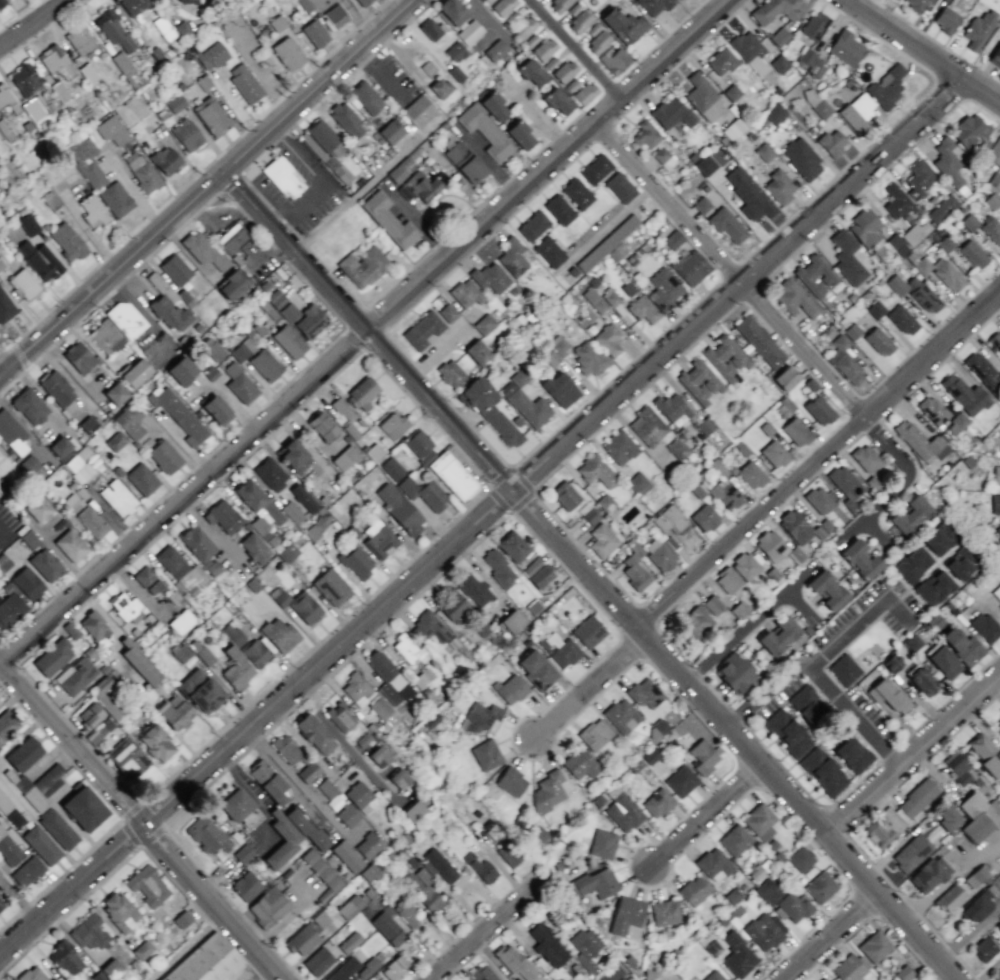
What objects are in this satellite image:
building: (678, 0)
building: (186, 1)
building: (487, 1)
building: (2, 2)
building: (362, 2)
building: (558, 4)
building: (917, 4)
building: (502, 6)
building: (654, 6)
building: (134, 7)
building: (773, 9)
building: (452, 11)
building: (334, 16)
building: (946, 19)
building: (579, 21)
road: (34, 24)
building: (622, 25)
building: (814, 25)
building: (524, 27)
building: (430, 28)
building: (979, 28)
building: (113, 30)
building: (468, 32)
building: (314, 33)
road: (906, 39)
building: (79, 40)
building: (598, 41)
building: (845, 47)
building: (544, 49)
road: (576, 49)
building: (495, 50)
building: (455, 51)
building: (749, 51)
building: (287, 53)
building: (211, 56)
building: (995, 57)
building: (613, 60)
building: (55, 61)
building: (721, 61)
building: (810, 63)
building: (122, 64)
building: (779, 64)
building: (564, 71)
building: (531, 72)
building: (24, 79)
building: (244, 83)
building: (886, 86)
building: (439, 88)
road: (982, 91)
building: (584, 93)
building: (4, 96)
building: (365, 97)
building: (702, 97)
building: (557, 101)
building: (173, 103)
building: (492, 104)
building: (820, 108)
building: (418, 110)
building: (671, 113)
building: (774, 113)
building: (856, 113)
building: (211, 115)
building: (346, 120)
building: (735, 125)
building: (111, 130)
building: (969, 130)
building: (390, 131)
building: (485, 132)
building: (519, 134)
building: (645, 134)
building: (185, 135)
building: (322, 141)
building: (831, 142)
building: (763, 151)
building: (994, 152)
building: (663, 158)
building: (801, 158)
building: (165, 160)
building: (85, 161)
building: (464, 162)
building: (947, 162)
building: (705, 165)
building: (595, 169)
building: (58, 171)
building: (396, 173)
building: (143, 174)
building: (342, 174)
building: (282, 176)
building: (918, 179)
building: (994, 182)
building: (423, 184)
building: (779, 186)
building: (619, 187)
road: (215, 188)
building: (576, 193)
building: (749, 195)
building: (115, 199)
building: (992, 200)
building: (896, 202)
building: (701, 204)
building: (942, 208)
building: (92, 209)
building: (558, 209)
building: (388, 220)
building: (969, 222)
building: (28, 224)
building: (533, 225)
building: (726, 225)
building: (864, 227)
building: (991, 230)
building: (231, 238)
building: (673, 239)
building: (67, 242)
building: (896, 245)
building: (198, 247)
building: (548, 251)
building: (972, 254)
building: (511, 257)
building: (847, 258)
building: (39, 260)
building: (362, 267)
building: (690, 267)
building: (174, 269)
building: (949, 276)
building: (489, 277)
building: (815, 277)
building: (24, 283)
building: (231, 285)
building: (896, 285)
building: (664, 289)
building: (465, 293)
building: (925, 297)
building: (610, 299)
building: (794, 299)
building: (594, 300)
building: (166, 304)
building: (5, 307)
building: (286, 309)
building: (642, 309)
building: (875, 309)
building: (447, 312)
building: (125, 319)
building: (902, 320)
building: (310, 321)
building: (484, 324)
road: (780, 327)
building: (421, 330)
road: (367, 332)
building: (105, 337)
building: (607, 339)
building: (995, 340)
building: (288, 341)
building: (758, 341)
building: (878, 341)
building: (212, 349)
building: (554, 349)
building: (242, 350)
building: (477, 352)
building: (78, 357)
building: (724, 358)
building: (588, 359)
building: (844, 361)
building: (264, 365)
building: (181, 370)
building: (983, 371)
building: (134, 372)
building: (450, 373)
building: (786, 379)
building: (699, 382)
building: (239, 384)
building: (812, 385)
building: (56, 388)
building: (560, 389)
building: (115, 393)
building: (362, 393)
building: (964, 394)
building: (524, 401)
building: (29, 406)
building: (670, 407)
building: (342, 409)
building: (488, 409)
building: (216, 410)
building: (819, 410)
building: (931, 410)
building: (178, 414)
building: (128, 421)
building: (392, 425)
building: (321, 426)
building: (647, 426)
building: (767, 429)
building: (798, 431)
building: (11, 433)
building: (916, 441)
building: (419, 447)
building: (619, 447)
building: (678, 448)
building: (61, 449)
building: (374, 453)
building: (776, 454)
building: (163, 456)
building: (293, 456)
road: (819, 456)
building: (864, 457)
building: (344, 458)
building: (75, 459)
building: (30, 465)
building: (391, 468)
building: (719, 468)
building: (595, 471)
building: (270, 474)
building: (452, 475)
building: (752, 476)
building: (996, 478)
building: (141, 479)
building: (639, 484)
building: (845, 485)
building: (699, 492)
building: (423, 493)
building: (564, 495)
building: (725, 496)
building: (117, 498)
building: (303, 498)
building: (257, 500)
building: (818, 500)
building: (995, 504)
building: (38, 508)
building: (398, 508)
building: (291, 512)
building: (909, 515)
building: (222, 516)
building: (591, 516)
road: (482, 518)
building: (704, 518)
building: (670, 520)
building: (91, 522)
building: (795, 526)
building: (317, 527)
building: (998, 532)
building: (940, 538)
building: (379, 539)
building: (601, 540)
building: (196, 543)
building: (70, 545)
building: (770, 546)
building: (514, 547)
building: (254, 548)
building: (288, 552)
building: (659, 554)
building: (860, 559)
building: (355, 561)
building: (961, 562)
building: (912, 564)
building: (45, 565)
building: (744, 565)
building: (498, 567)
building: (180, 568)
building: (634, 569)
building: (541, 577)
road: (593, 577)
building: (726, 580)
building: (147, 581)
building: (27, 583)
building: (934, 587)
building: (331, 588)
building: (473, 589)
building: (827, 590)
building: (712, 605)
building: (124, 606)
building: (453, 606)
building: (302, 607)
building: (535, 607)
building: (9, 609)
road: (663, 611)
building: (181, 621)
building: (512, 621)
building: (696, 622)
road: (746, 625)
building: (93, 626)
building: (984, 626)
building: (428, 627)
building: (588, 631)
building: (279, 634)
building: (777, 635)
building: (236, 638)
building: (455, 644)
building: (962, 646)
building: (407, 649)
building: (564, 652)
building: (181, 653)
building: (254, 653)
building: (52, 657)
road: (821, 657)
building: (139, 662)
building: (944, 662)
building: (236, 668)
building: (536, 669)
building: (843, 669)
building: (735, 673)
building: (76, 676)
building: (386, 676)
building: (922, 682)
building: (356, 689)
building: (510, 689)
building: (199, 691)
road: (593, 691)
building: (645, 694)
building: (888, 695)
building: (103, 700)
building: (807, 704)
building: (383, 711)
building: (174, 712)
building: (89, 715)
road: (527, 716)
building: (621, 716)
building: (340, 717)
building: (480, 717)
road: (855, 717)
building: (7, 724)
building: (104, 727)
building: (997, 728)
road: (912, 731)
building: (787, 732)
building: (314, 734)
building: (594, 734)
building: (154, 742)
building: (285, 749)
building: (23, 754)
building: (486, 754)
building: (852, 754)
building: (984, 754)
building: (126, 755)
road: (914, 755)
building: (702, 756)
building: (380, 757)
building: (580, 764)
building: (957, 769)
building: (822, 771)
building: (309, 773)
building: (398, 778)
building: (48, 780)
building: (267, 781)
building: (510, 781)
building: (680, 781)
building: (327, 789)
building: (547, 791)
building: (341, 796)
building: (358, 797)
building: (917, 797)
building: (36, 800)
building: (657, 802)
building: (233, 803)
building: (83, 807)
building: (413, 810)
building: (622, 812)
building: (347, 815)
building: (977, 816)
road: (143, 817)
road: (712, 818)
road: (833, 819)
building: (948, 819)
building: (759, 821)
building: (883, 827)
building: (57, 828)
building: (306, 828)
road: (848, 828)
building: (206, 835)
building: (734, 840)
building: (281, 843)
building: (40, 844)
building: (602, 844)
building: (370, 846)
road: (136, 848)
building: (8, 849)
building: (509, 853)
building: (910, 853)
building: (347, 856)
building: (800, 858)
building: (713, 863)
building: (440, 865)
building: (479, 868)
building: (27, 871)
building: (371, 874)
building: (928, 874)
building: (975, 876)
building: (410, 881)
building: (335, 884)
building: (593, 884)
building: (147, 885)
building: (245, 886)
building: (820, 887)
building: (693, 890)
building: (768, 891)
building: (949, 898)
building: (429, 899)
road: (19, 901)
road: (861, 902)
building: (1, 904)
building: (267, 907)
building: (793, 907)
building: (976, 907)
building: (347, 908)
building: (118, 911)
building: (664, 912)
building: (406, 913)
building: (625, 914)
road: (869, 917)
building: (182, 919)
building: (999, 919)
building: (764, 930)
road: (486, 932)
building: (87, 933)
road: (826, 935)
building: (302, 939)
building: (351, 942)
building: (547, 945)
building: (874, 946)
building: (984, 948)
building: (586, 949)
building: (142, 950)
building: (737, 955)
building: (65, 958)
building: (513, 961)
building: (206, 962)
building: (319, 962)
building: (393, 968)
building: (848, 968)
building: (107, 971)
building: (343, 971)
building: (482, 973)
building: (903, 973)
building: (31, 974)
road: (267, 974)
building: (713, 976)
building: (997, 976)
road: (609, 977)
building: (823, 978)
building: (53, 979)
building: (379, 979)

